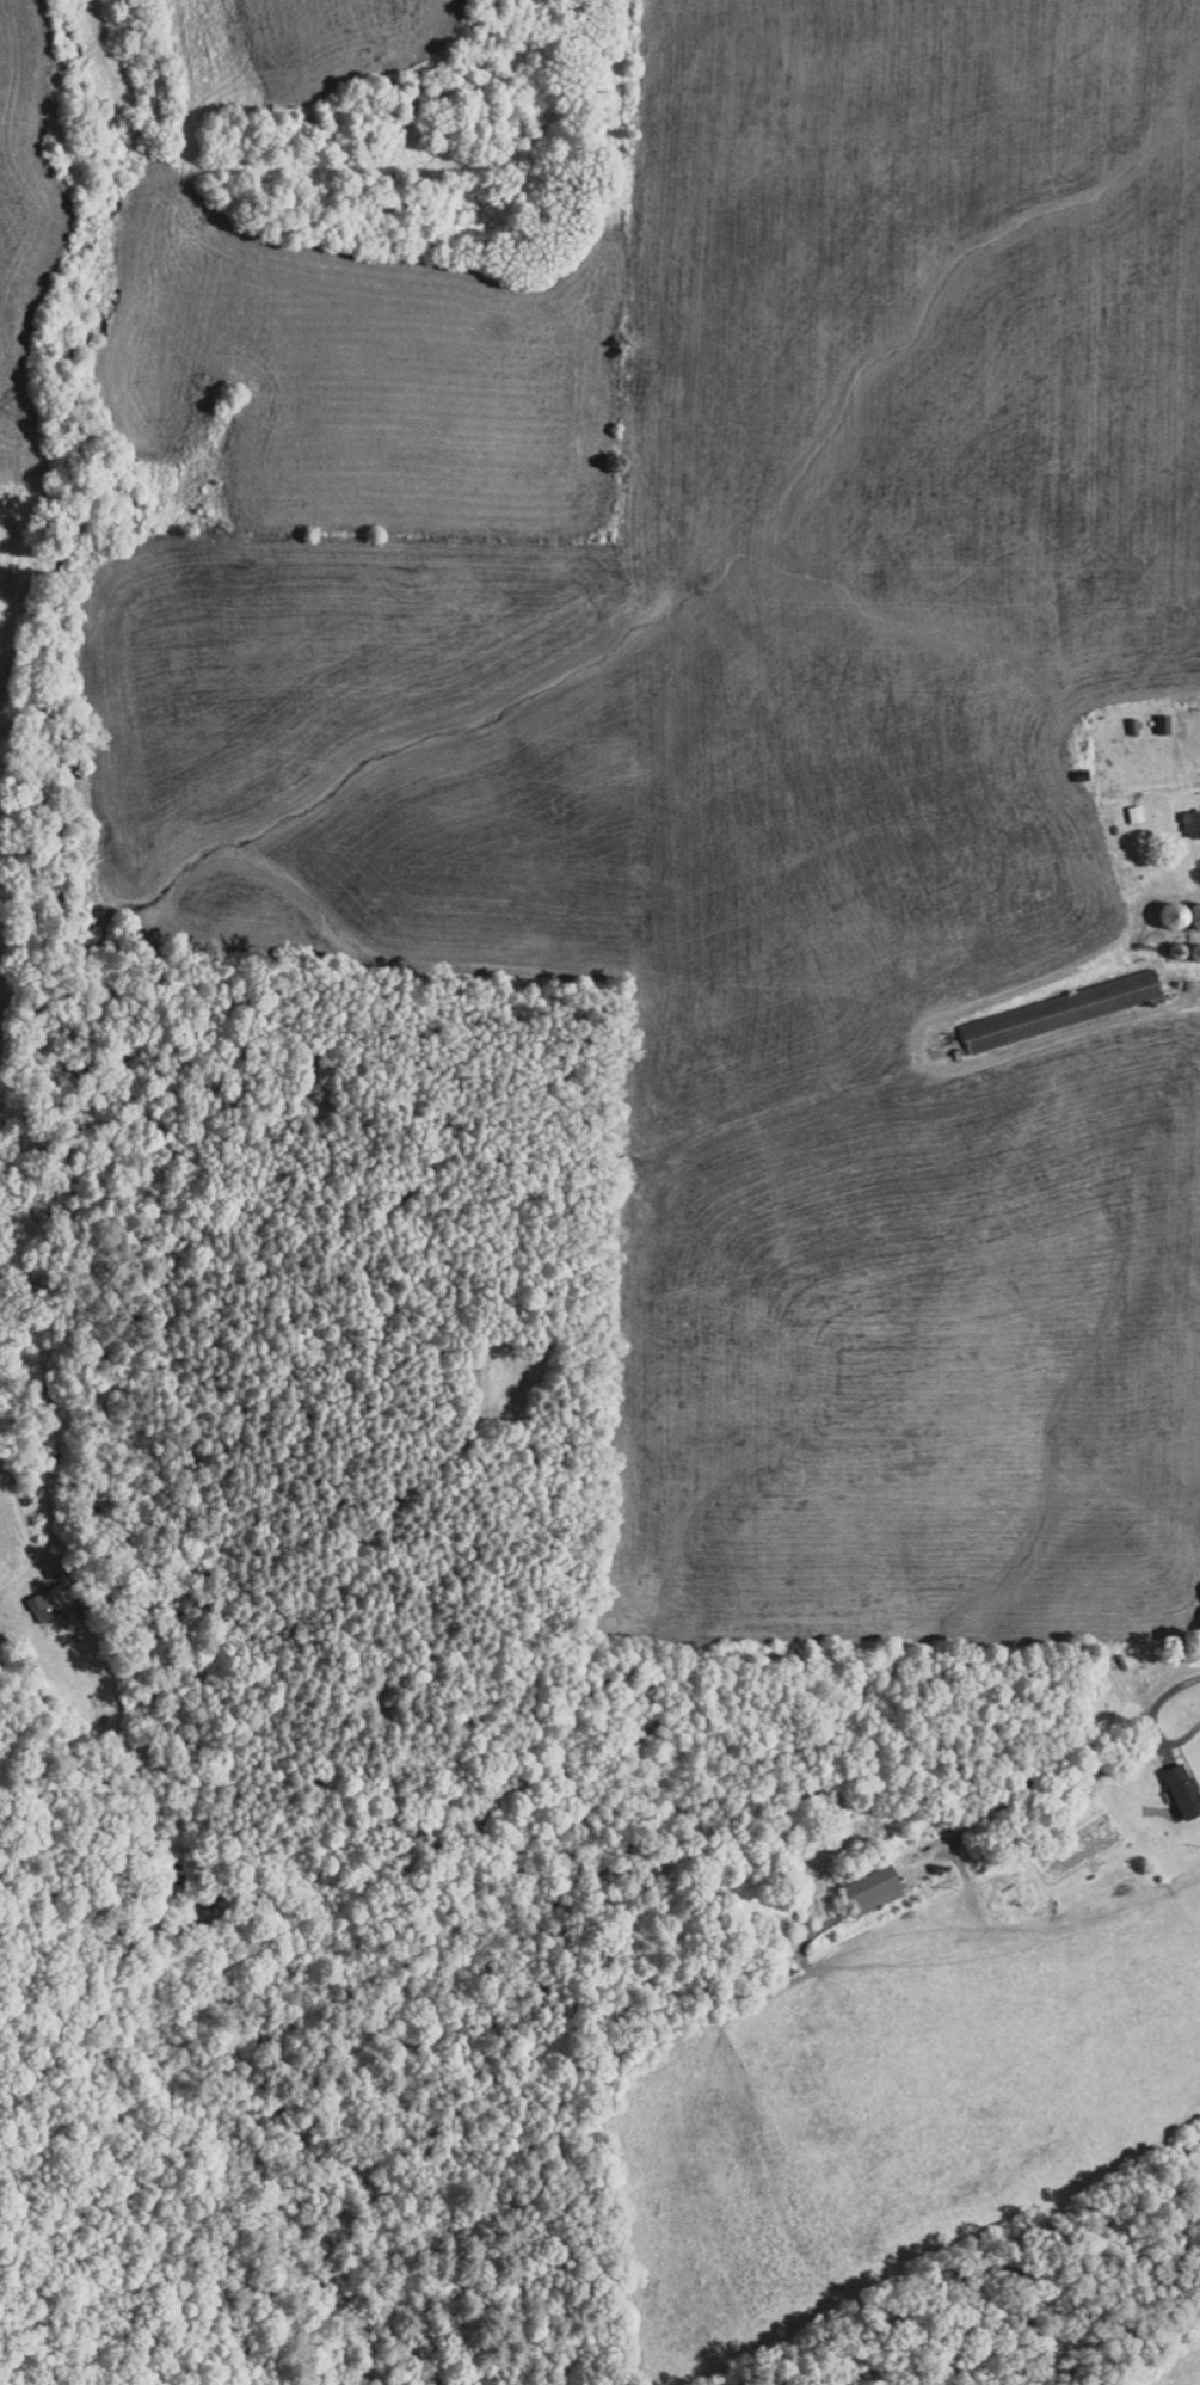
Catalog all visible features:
building: (1122, 805)
building: (1186, 815)
building: (1175, 918)
building: (1047, 1002)
building: (38, 1590)
road: (1163, 1733)
road: (1060, 1745)
building: (1170, 1783)
building: (860, 1882)

